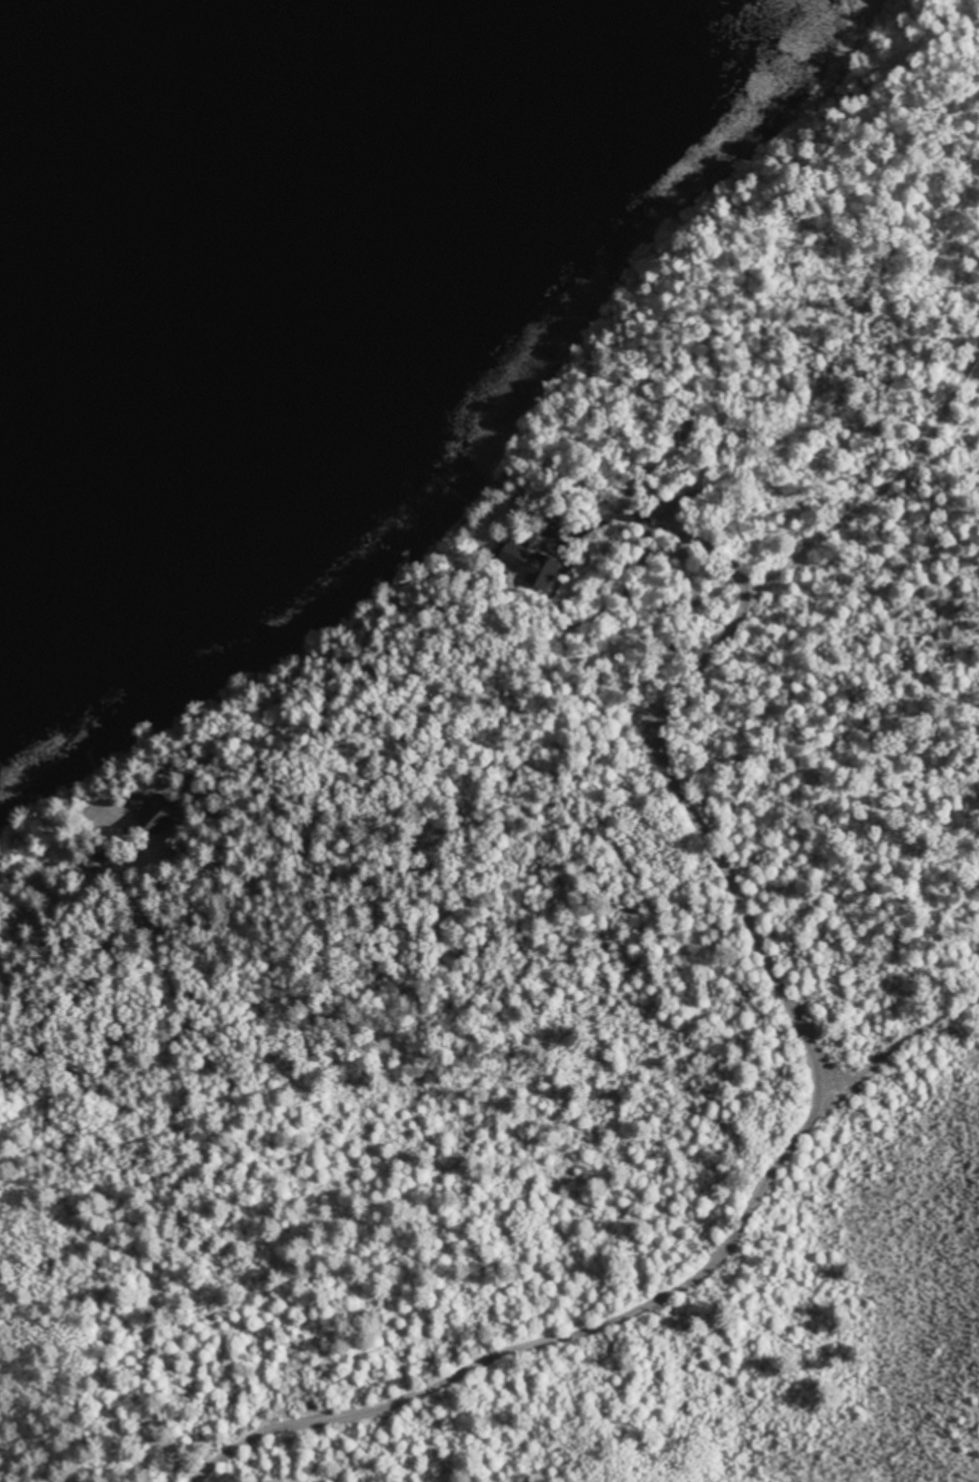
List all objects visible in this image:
building: (535, 563)
building: (161, 808)
building: (107, 852)
road: (568, 893)
road: (40, 895)
road: (782, 989)

